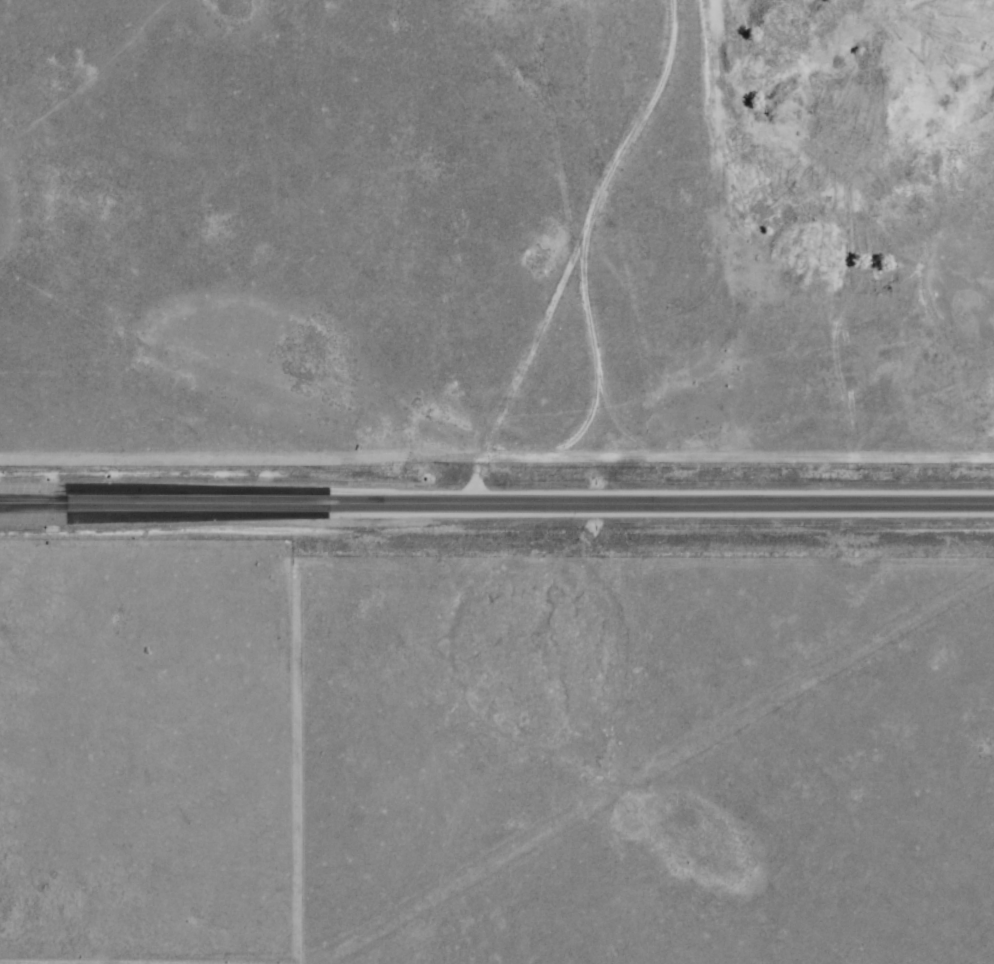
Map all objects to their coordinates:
road: (497, 506)

